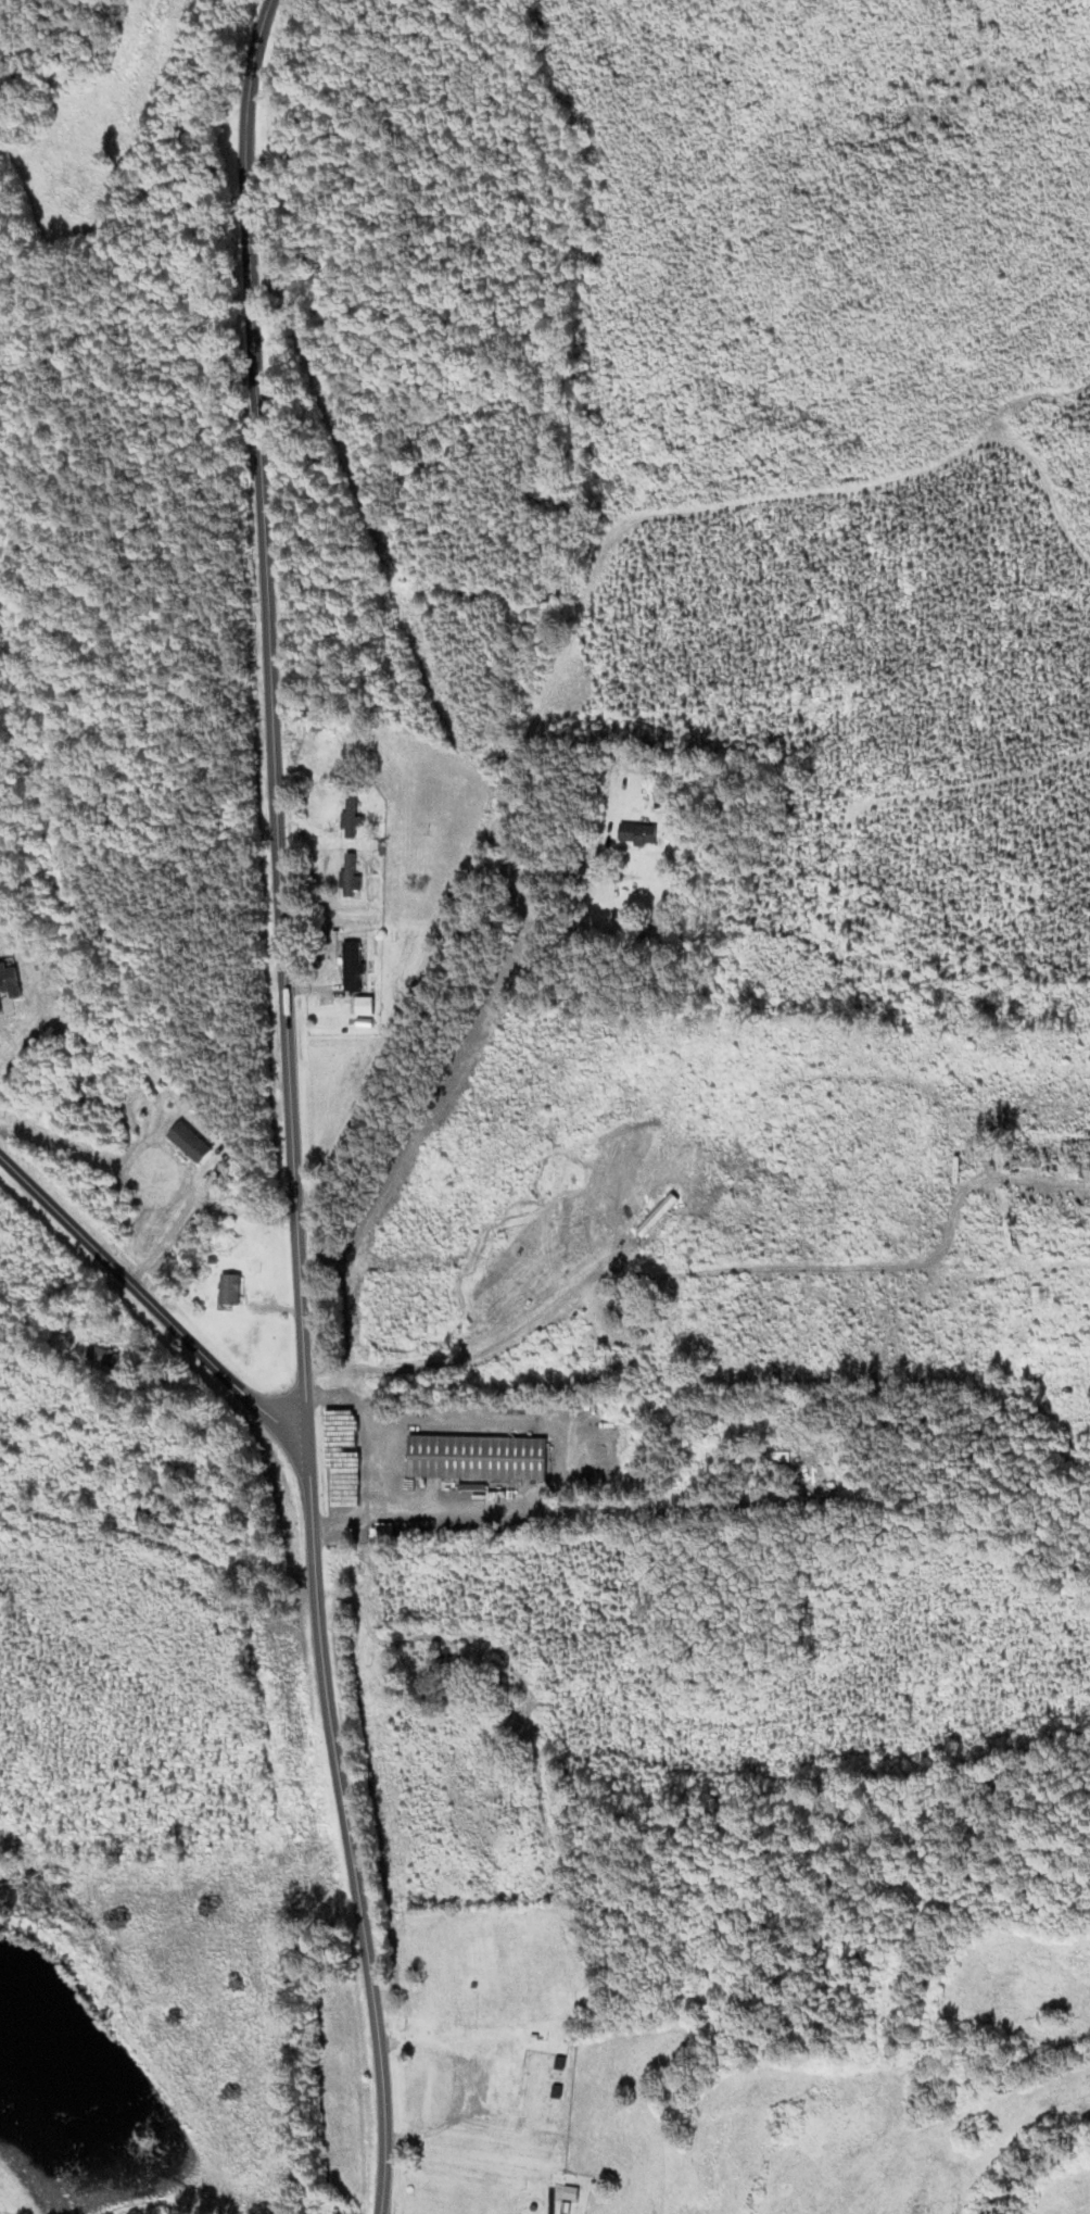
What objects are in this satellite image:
building: (348, 817)
building: (635, 834)
building: (348, 878)
road: (436, 935)
building: (350, 967)
building: (360, 1006)
building: (1, 1057)
road: (291, 1107)
building: (188, 1143)
building: (229, 1290)
road: (154, 1306)
building: (102, 1357)
building: (609, 1360)
building: (753, 1456)
building: (473, 1458)
road: (356, 1462)
building: (445, 1660)
building: (507, 2086)
building: (567, 2193)

